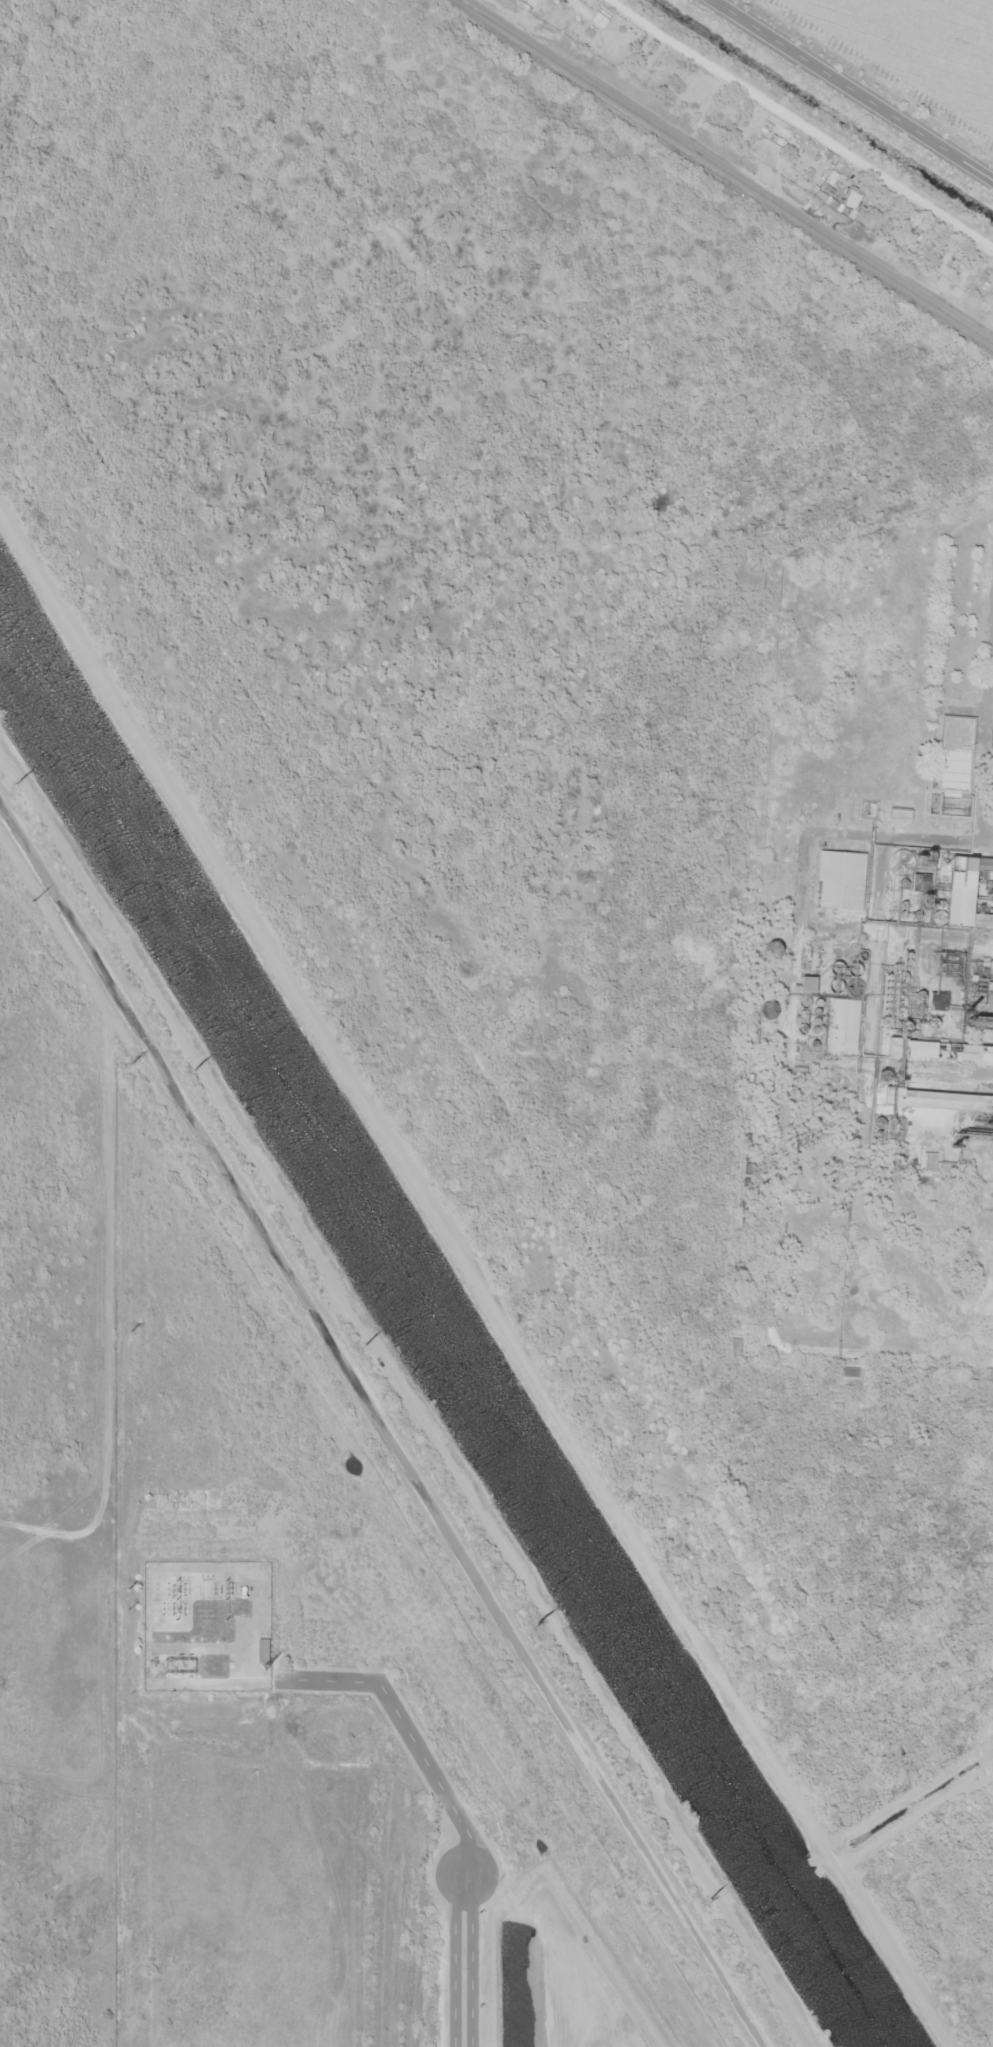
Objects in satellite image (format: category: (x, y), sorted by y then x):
power tower: (9, 774)
power tower: (46, 899)
power tower: (129, 1060)
power tower: (188, 1064)
power tower: (124, 1333)
power tower: (356, 1339)
power tower: (124, 1586)
power tower: (533, 1620)
power substation: (202, 1625)

